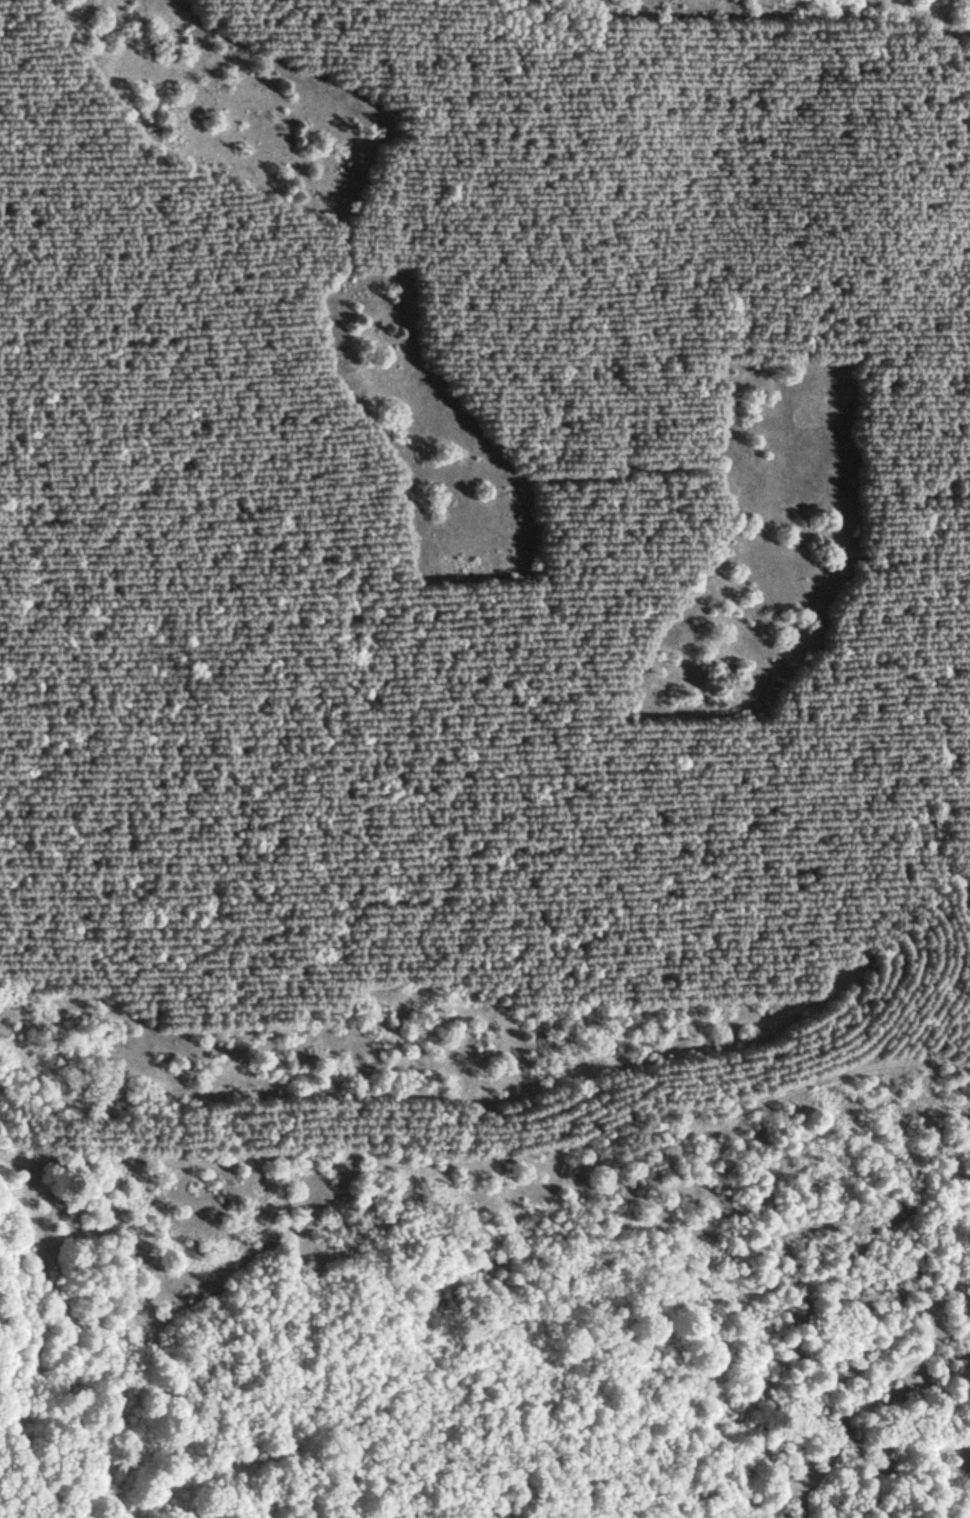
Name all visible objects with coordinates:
road: (482, 929)
road: (10, 1167)

